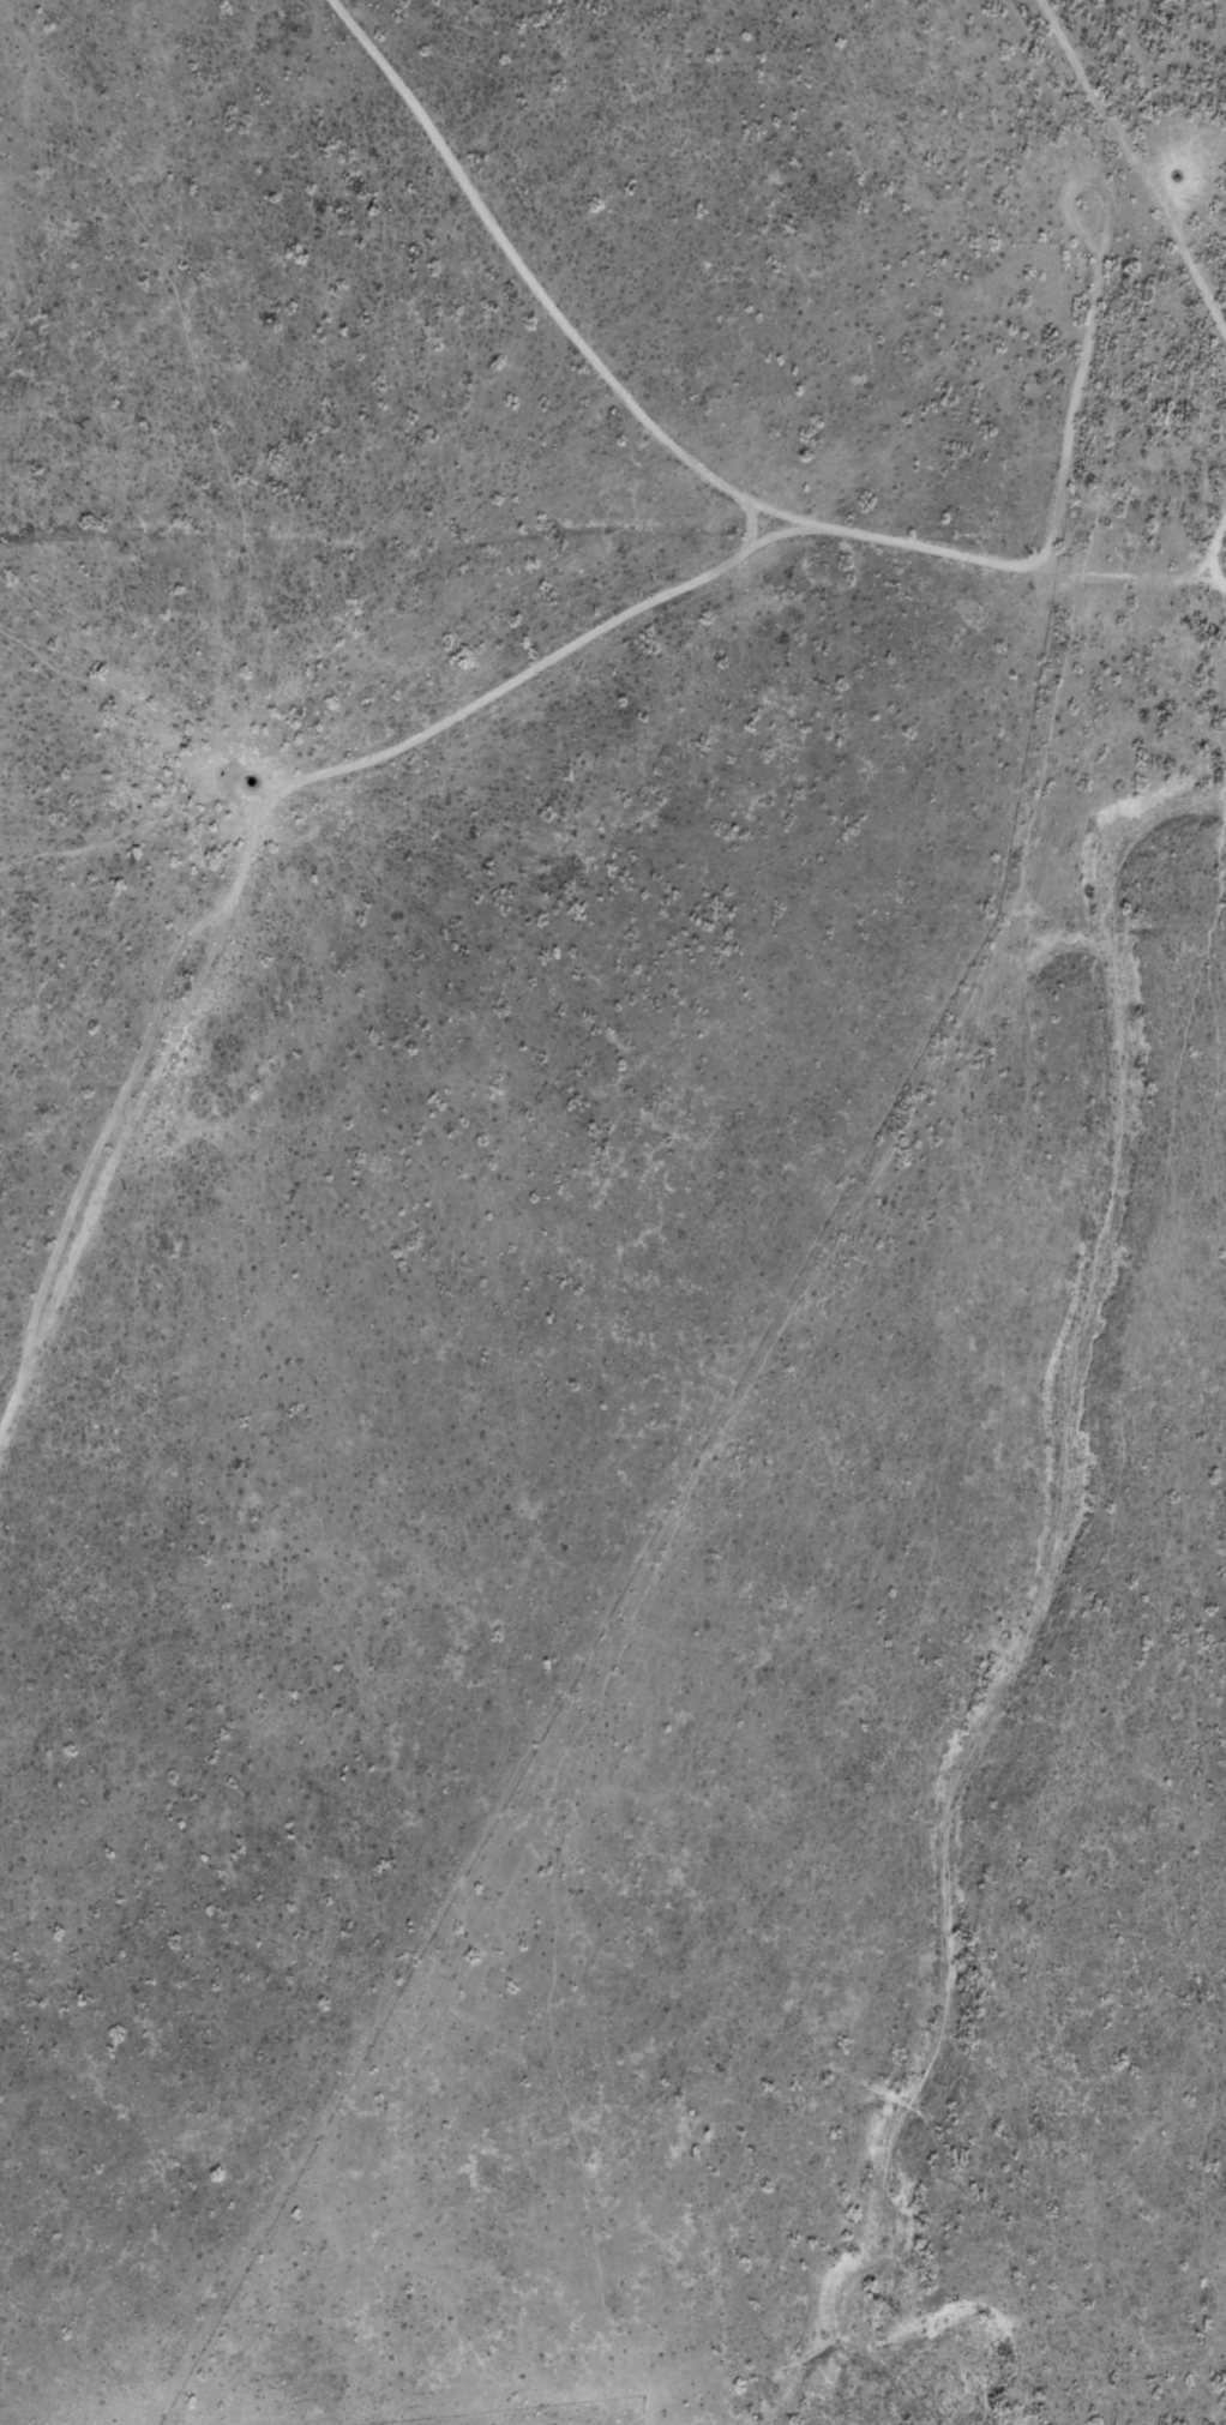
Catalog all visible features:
road: (1131, 163)
road: (690, 431)
road: (421, 553)
road: (1224, 592)

